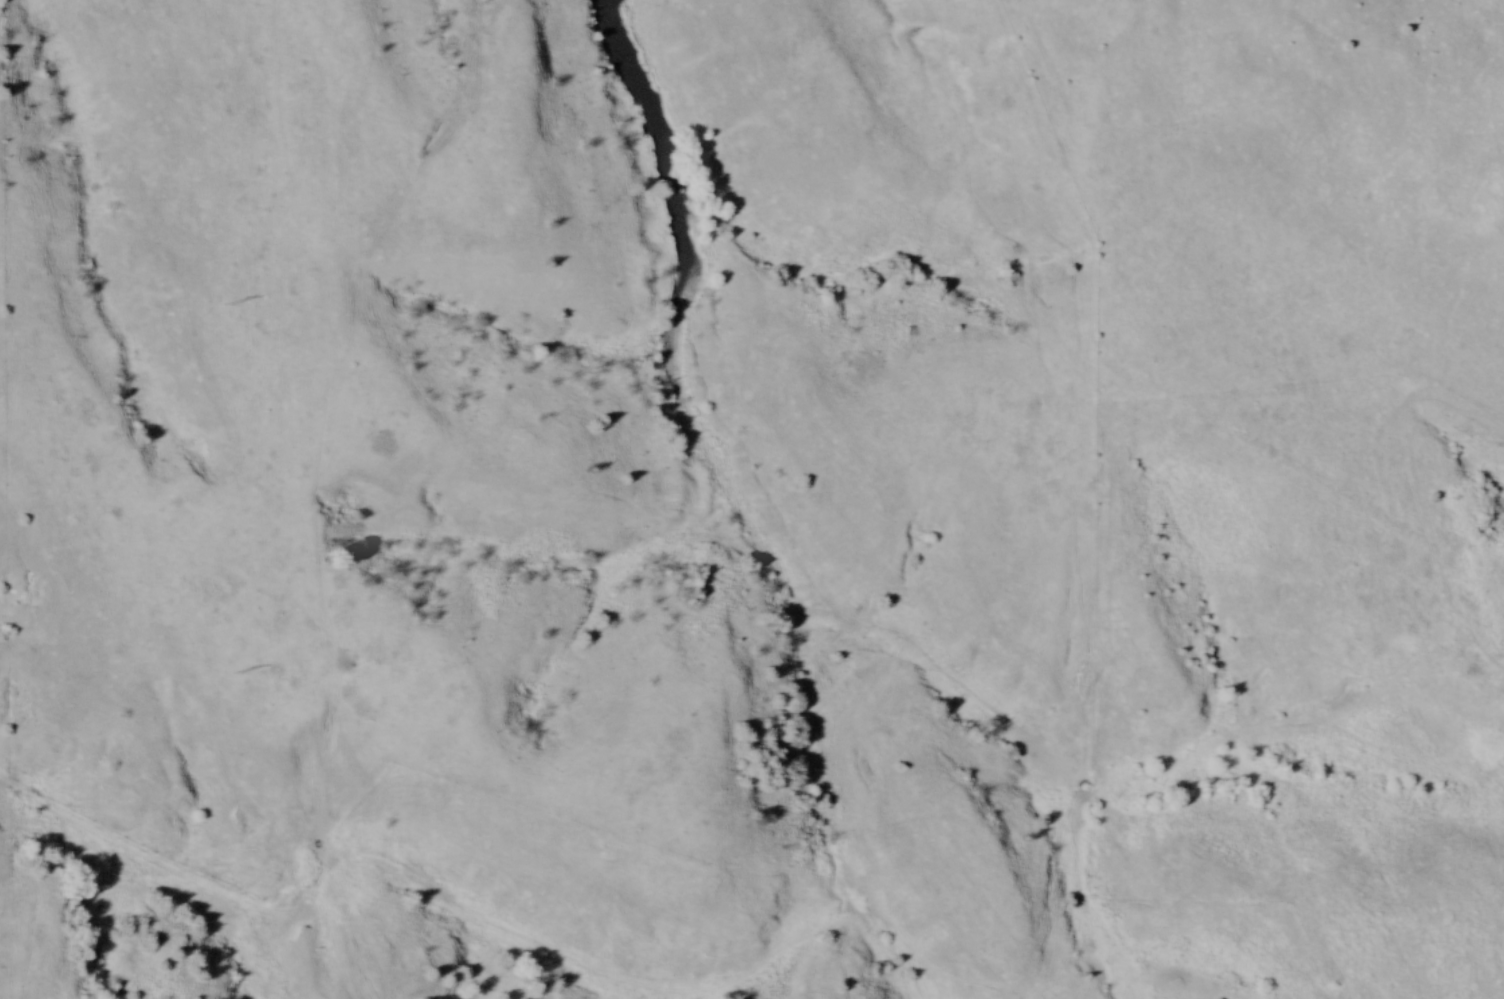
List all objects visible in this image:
power tower: (227, 308)
power tower: (235, 673)

